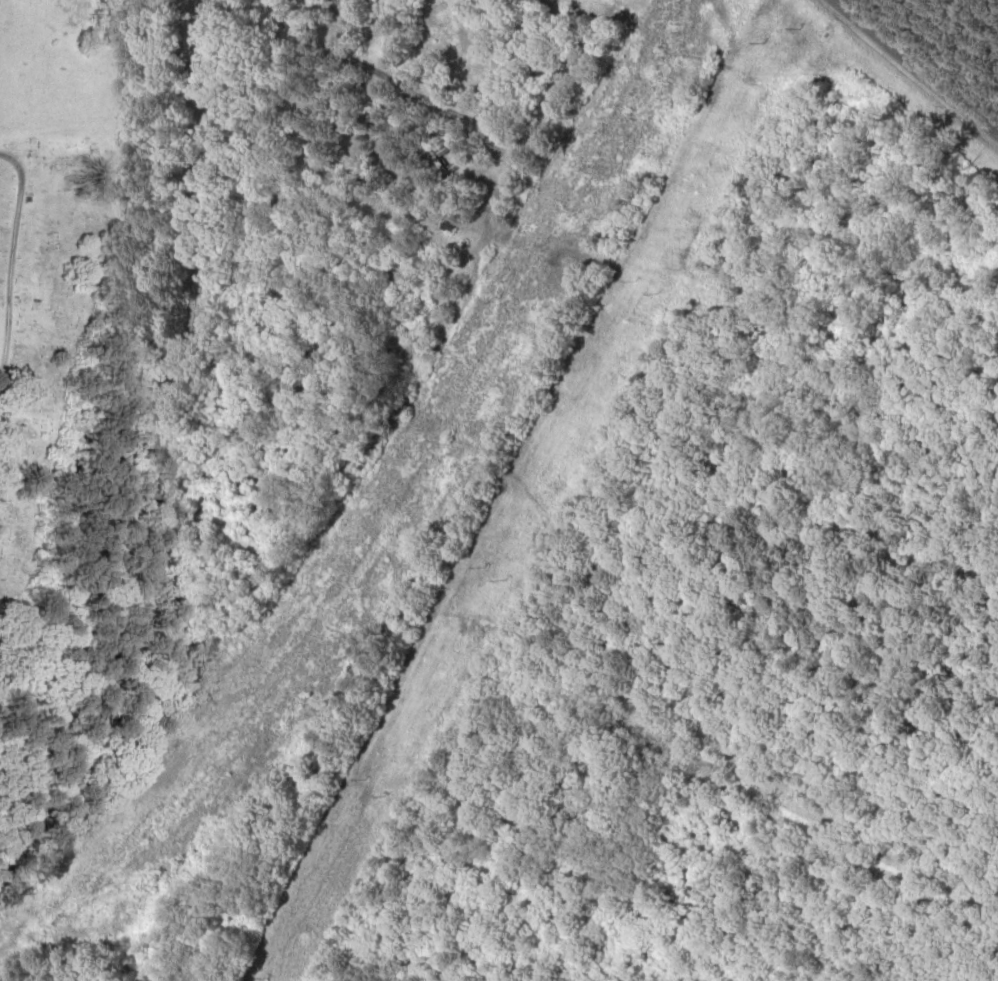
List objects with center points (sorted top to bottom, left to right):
road: (916, 64)
park: (49, 245)
road: (11, 262)
railway: (174, 440)

